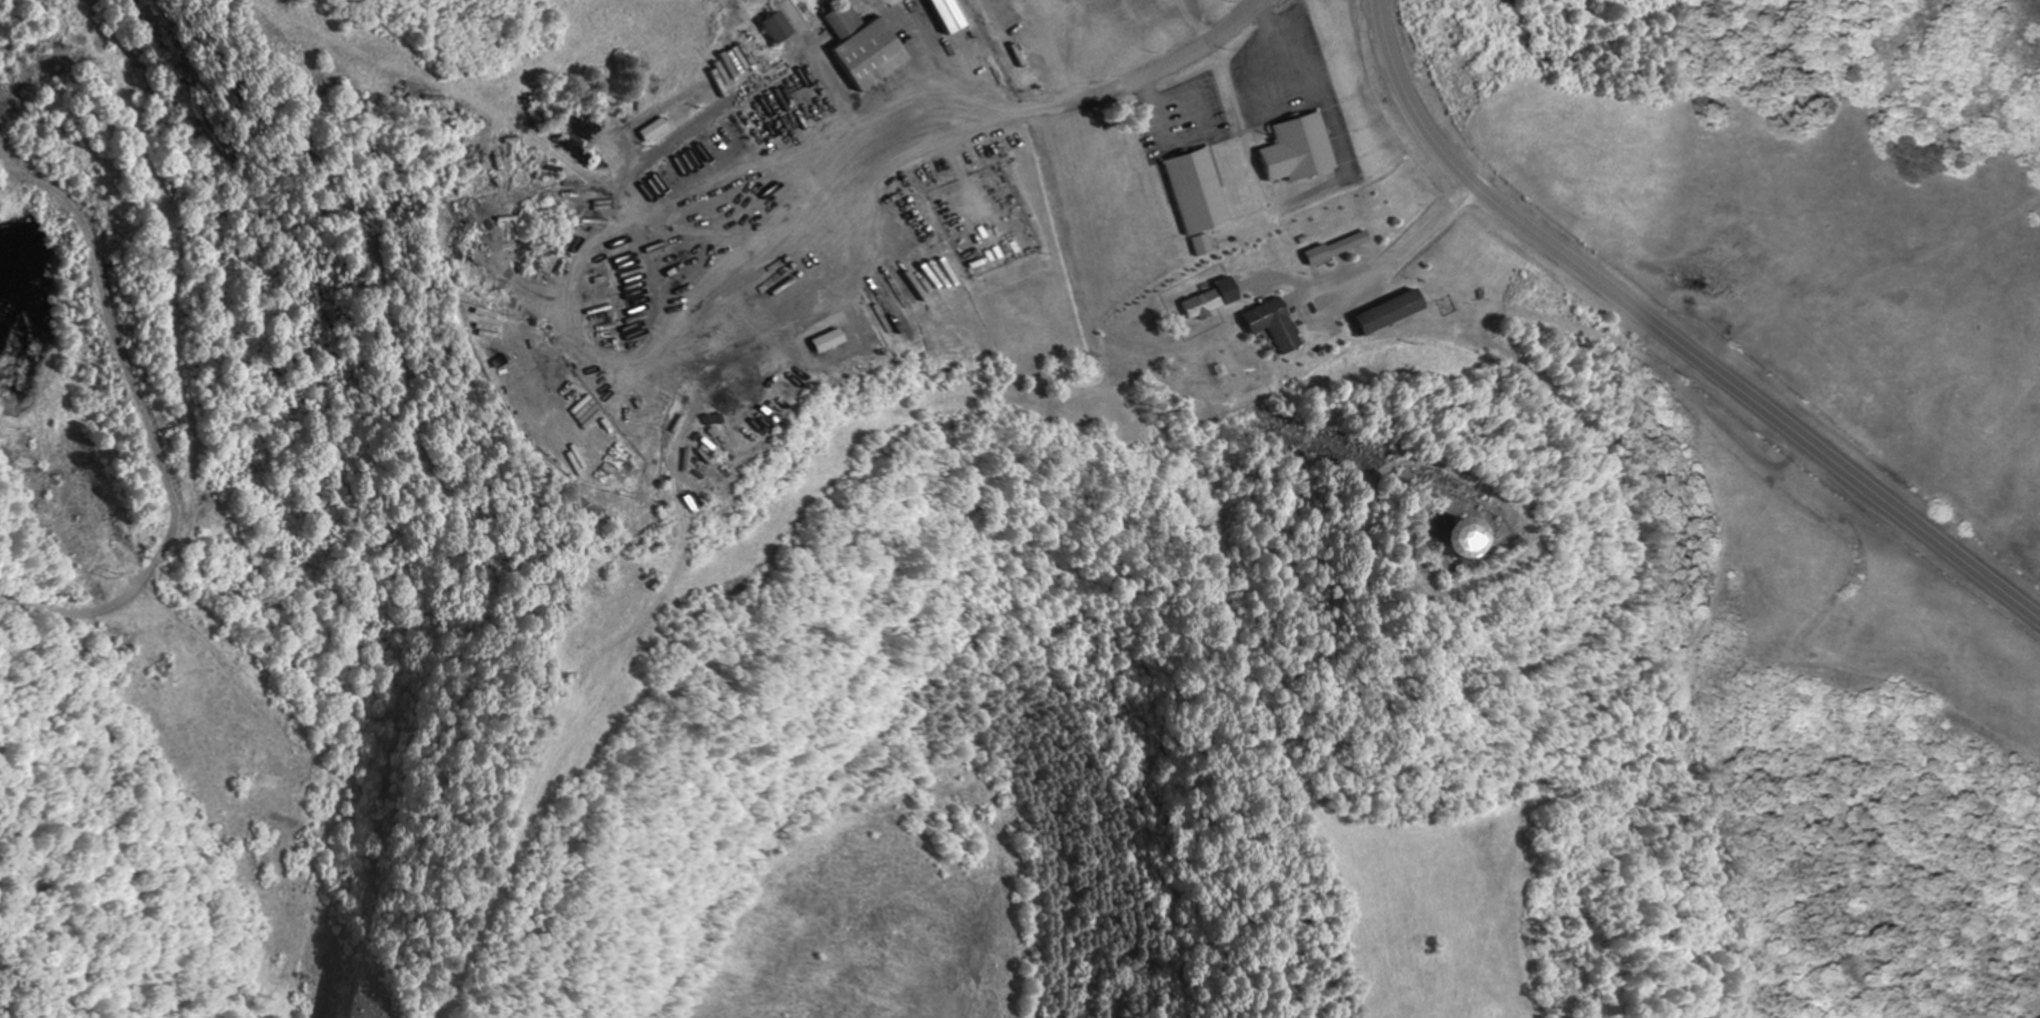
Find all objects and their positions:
building: (936, 14)
building: (764, 25)
building: (852, 45)
building: (774, 95)
building: (647, 128)
building: (1289, 148)
building: (1192, 188)
building: (1198, 243)
building: (1331, 246)
quarry: (190, 285)
building: (1207, 298)
building: (1381, 311)
building: (1267, 323)
road: (1672, 334)
building: (820, 340)
building: (574, 415)
building: (1438, 537)
power tower: (117, 567)

